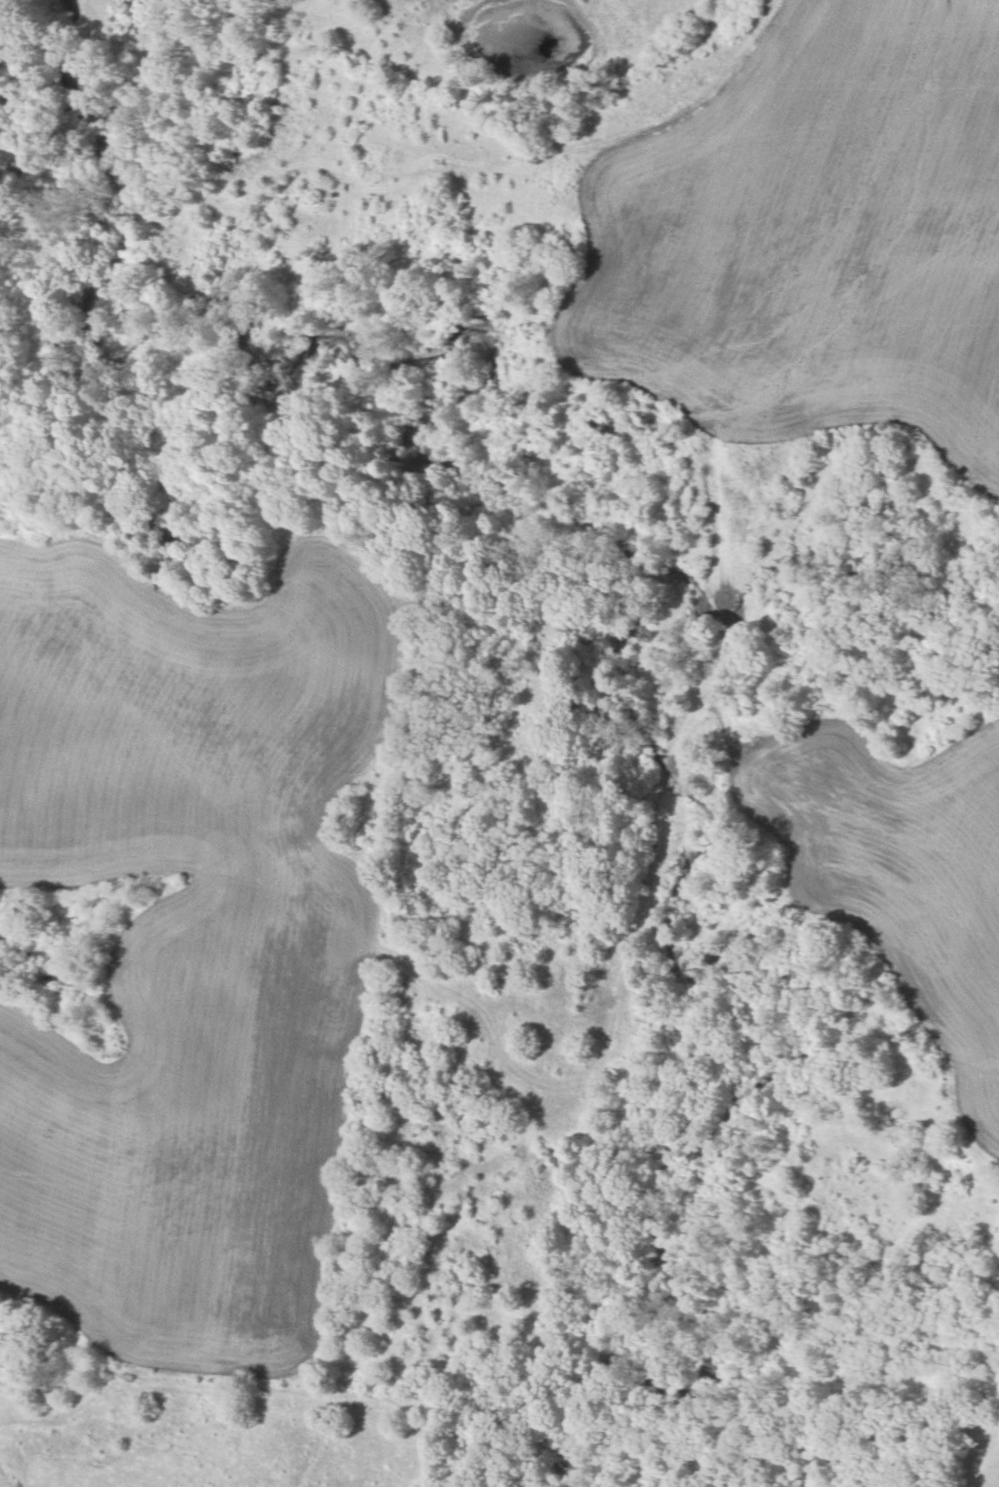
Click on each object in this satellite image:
crop: (816, 238)
crop: (902, 871)
crop: (190, 944)
crop: (226, 1429)
crop: (982, 1452)

